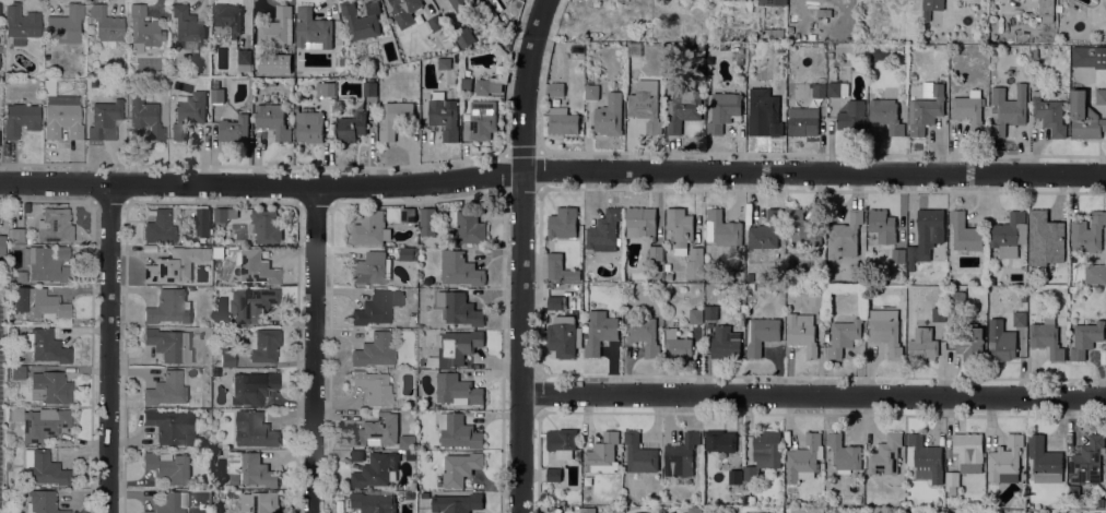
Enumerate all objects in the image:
building: (772, 2)
building: (466, 4)
building: (931, 7)
building: (1059, 8)
building: (1046, 10)
building: (404, 11)
building: (823, 11)
building: (792, 16)
building: (362, 19)
building: (226, 21)
building: (435, 22)
building: (20, 23)
building: (64, 24)
building: (106, 24)
building: (188, 25)
building: (276, 27)
building: (313, 28)
building: (789, 28)
building: (143, 29)
building: (773, 32)
building: (811, 36)
building: (463, 37)
building: (792, 38)
building: (340, 48)
building: (829, 48)
building: (754, 50)
building: (737, 53)
building: (880, 53)
building: (1089, 56)
building: (829, 57)
building: (244, 60)
building: (444, 62)
building: (215, 83)
building: (482, 85)
building: (369, 87)
building: (819, 87)
building: (556, 88)
building: (837, 88)
building: (591, 91)
building: (326, 93)
building: (217, 95)
building: (1101, 96)
building: (646, 104)
building: (682, 107)
building: (926, 107)
building: (380, 108)
building: (765, 108)
building: (1008, 108)
building: (722, 110)
building: (970, 110)
building: (188, 112)
building: (444, 115)
building: (609, 115)
building: (886, 115)
building: (1049, 115)
building: (63, 116)
building: (145, 116)
building: (1084, 117)
building: (396, 118)
building: (852, 118)
building: (21, 119)
building: (104, 119)
building: (482, 119)
building: (272, 120)
building: (563, 120)
building: (803, 120)
building: (309, 126)
building: (351, 128)
building: (234, 129)
road: (768, 153)
road: (552, 170)
road: (46, 200)
building: (224, 213)
building: (409, 214)
building: (202, 220)
building: (427, 220)
building: (563, 222)
building: (639, 222)
building: (55, 225)
building: (266, 226)
building: (469, 226)
building: (160, 227)
building: (369, 227)
building: (680, 227)
building: (722, 228)
building: (604, 229)
building: (804, 229)
building: (765, 230)
building: (965, 231)
building: (1089, 231)
building: (885, 232)
building: (927, 234)
building: (1009, 234)
building: (16, 235)
building: (844, 235)
building: (1045, 238)
building: (2, 249)
building: (217, 251)
building: (408, 252)
building: (656, 252)
road: (521, 254)
building: (46, 263)
building: (695, 263)
building: (176, 264)
building: (257, 266)
building: (372, 267)
building: (561, 267)
building: (459, 269)
building: (1095, 273)
building: (21, 276)
building: (991, 281)
road: (539, 282)
building: (815, 297)
building: (556, 301)
building: (40, 303)
building: (252, 303)
building: (955, 305)
building: (167, 307)
building: (377, 307)
building: (459, 308)
building: (710, 311)
building: (939, 313)
building: (413, 315)
building: (696, 315)
building: (1020, 318)
building: (885, 330)
building: (600, 331)
building: (801, 332)
building: (761, 333)
building: (644, 334)
building: (562, 335)
building: (843, 336)
building: (1046, 336)
building: (1085, 337)
building: (1000, 341)
building: (725, 343)
building: (970, 343)
building: (169, 344)
building: (264, 344)
building: (676, 344)
building: (922, 344)
building: (45, 345)
building: (455, 347)
road: (108, 348)
road: (314, 349)
building: (374, 350)
building: (227, 356)
road: (92, 358)
building: (17, 372)
building: (50, 386)
building: (252, 386)
building: (374, 387)
building: (167, 389)
building: (457, 389)
road: (812, 395)
building: (15, 414)
road: (774, 414)
building: (44, 423)
building: (172, 426)
building: (255, 429)
building: (376, 430)
building: (458, 430)
building: (720, 440)
building: (405, 441)
building: (562, 441)
building: (767, 446)
building: (968, 451)
building: (215, 452)
building: (602, 453)
building: (639, 453)
building: (844, 453)
building: (681, 454)
building: (885, 454)
building: (356, 455)
building: (410, 455)
building: (804, 457)
building: (923, 457)
building: (1005, 460)
building: (1045, 460)
building: (1086, 461)
building: (168, 466)
building: (460, 466)
building: (44, 467)
building: (250, 468)
building: (376, 469)
building: (750, 472)
building: (553, 474)
building: (952, 482)
building: (413, 486)
building: (1073, 489)
building: (410, 494)
building: (43, 502)
building: (169, 502)
building: (259, 502)
building: (373, 502)
building: (457, 502)
building: (1102, 502)
building: (587, 510)
building: (693, 510)

